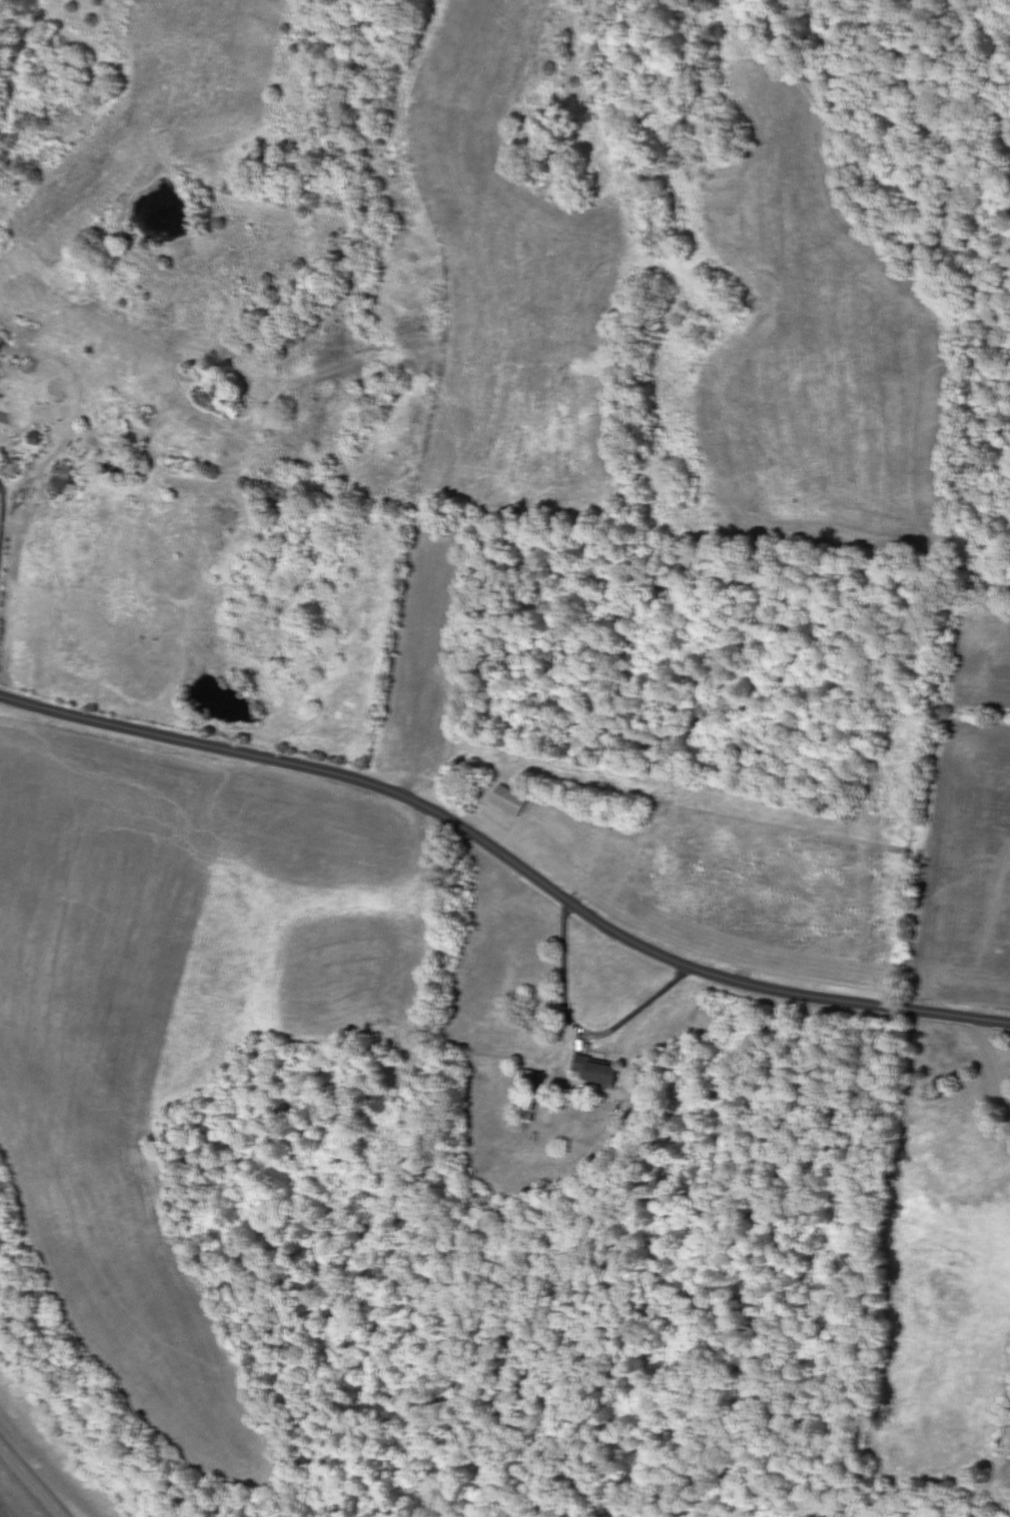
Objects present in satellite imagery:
building: (2, 344)
building: (38, 440)
building: (67, 477)
road: (4, 529)
building: (513, 801)
road: (508, 857)
building: (600, 1070)
road: (34, 1477)

